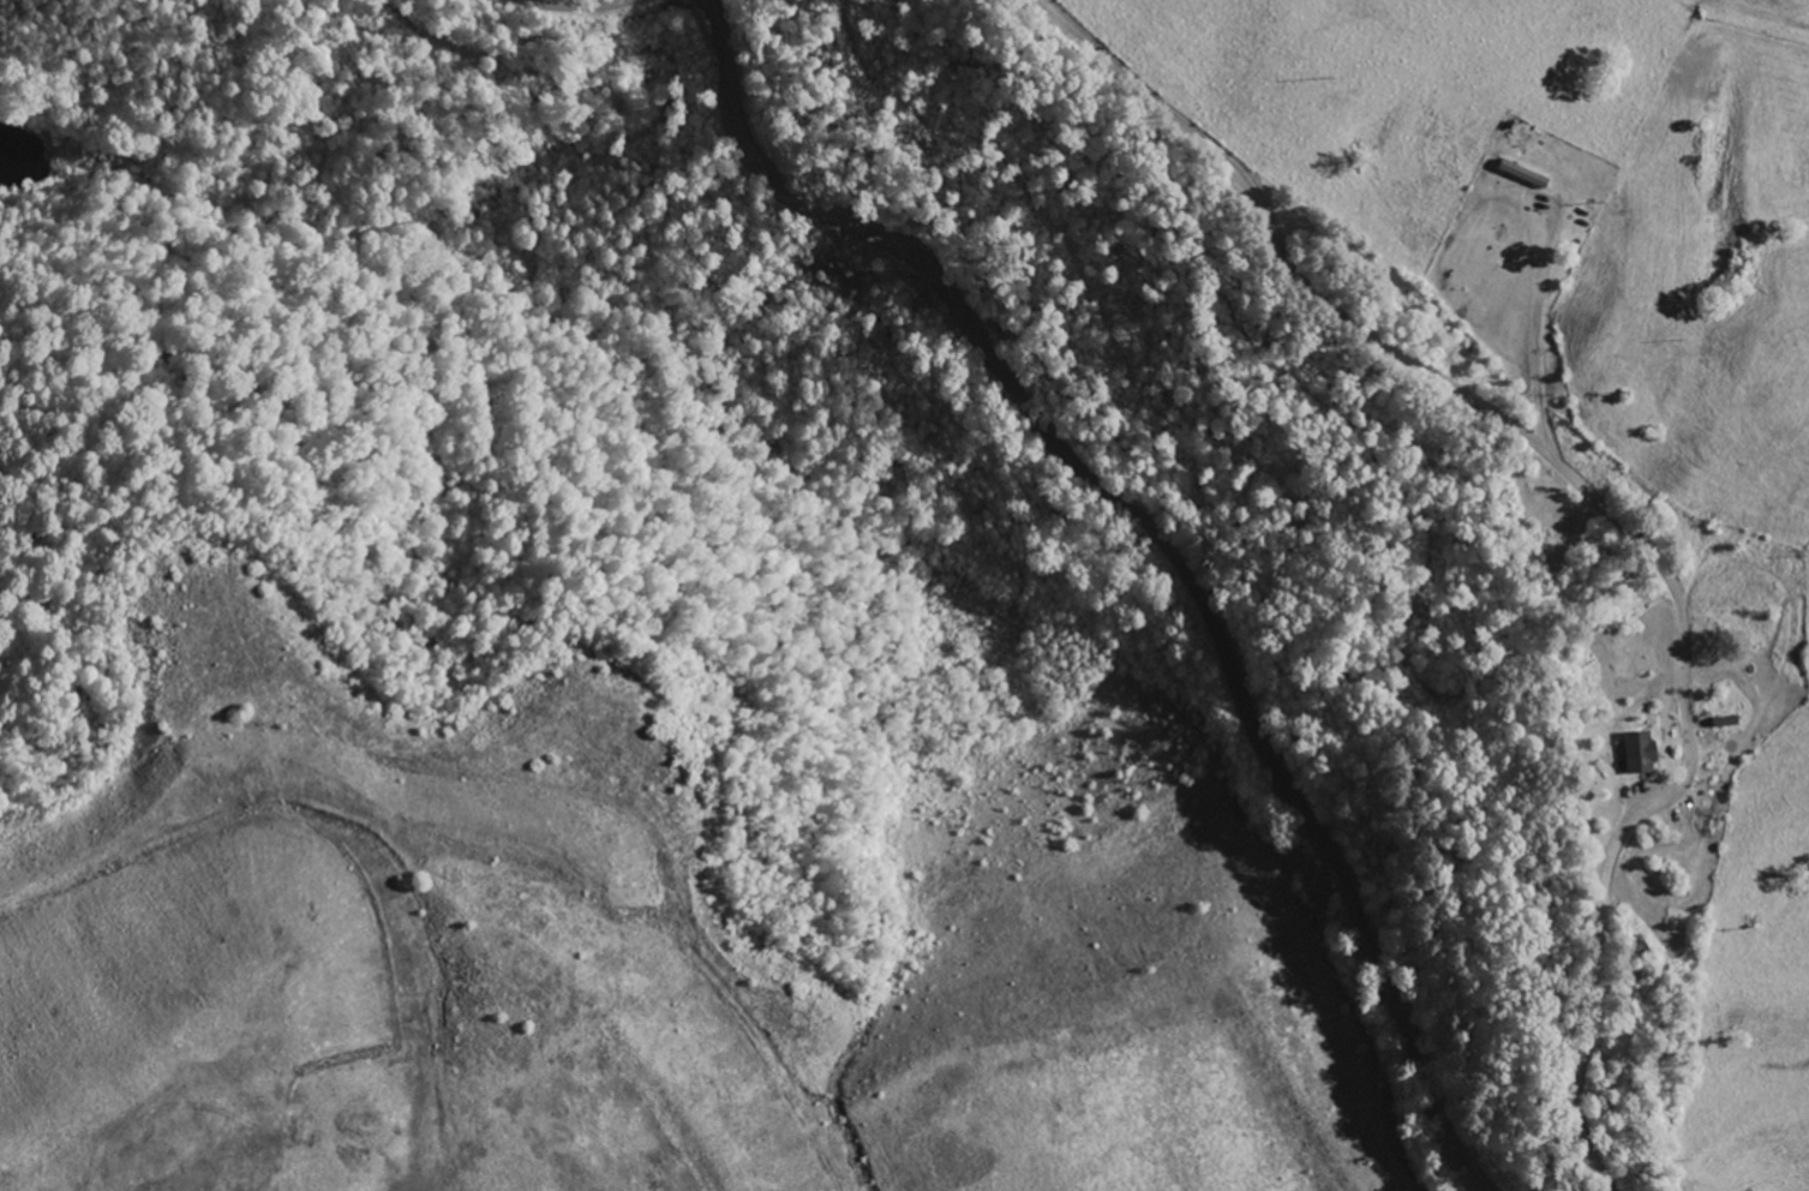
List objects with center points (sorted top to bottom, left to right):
road: (58, 146)
building: (1527, 175)
road: (1600, 504)
road: (1163, 540)
building: (1645, 755)

